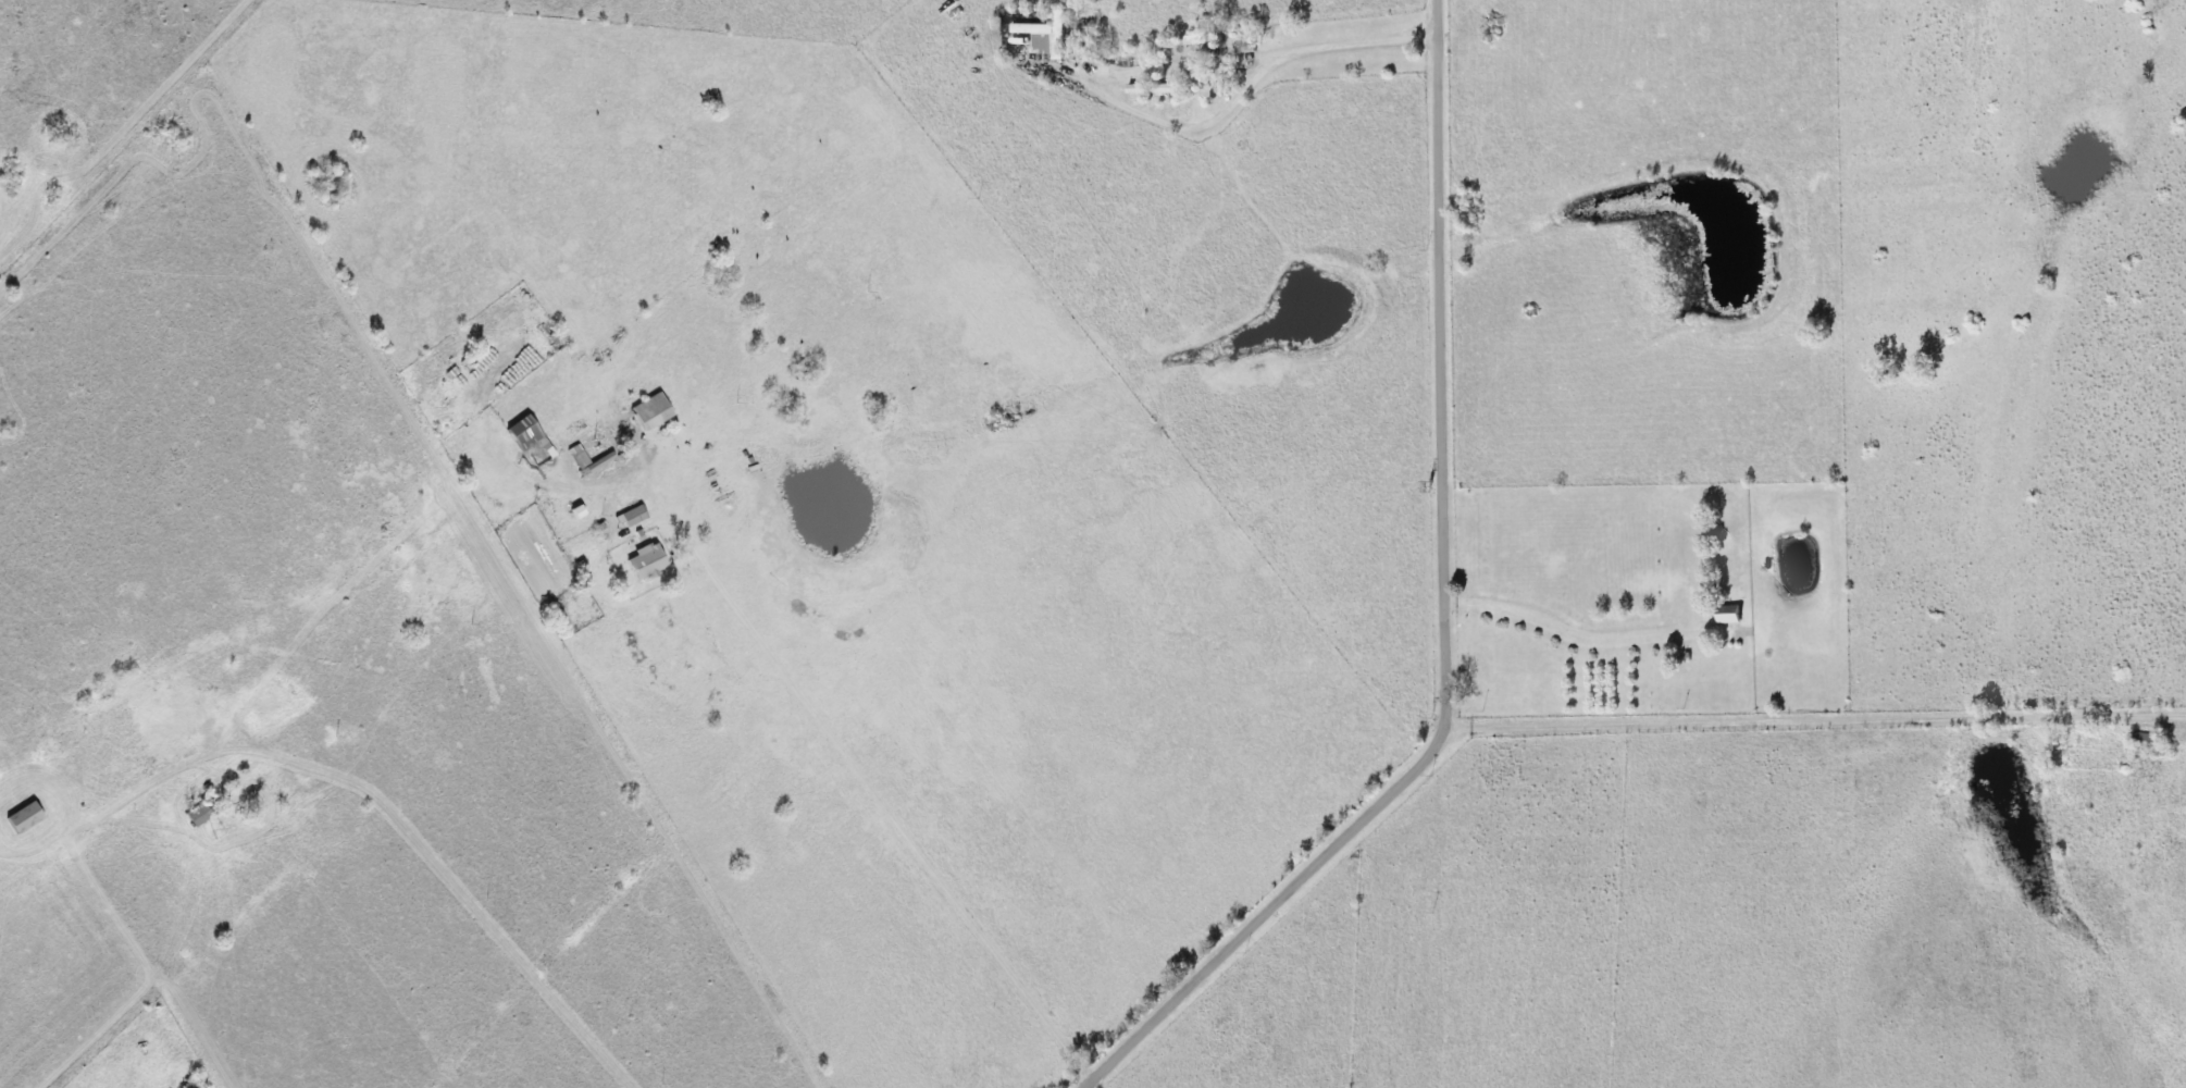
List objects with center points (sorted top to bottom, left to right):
building: (1046, 36)
building: (1203, 44)
road: (1338, 50)
building: (1153, 88)
building: (650, 410)
building: (522, 432)
building: (576, 456)
building: (632, 515)
building: (645, 560)
building: (1729, 615)
road: (1451, 623)
road: (1819, 722)
road: (873, 788)
road: (390, 811)
building: (196, 814)
building: (23, 817)

